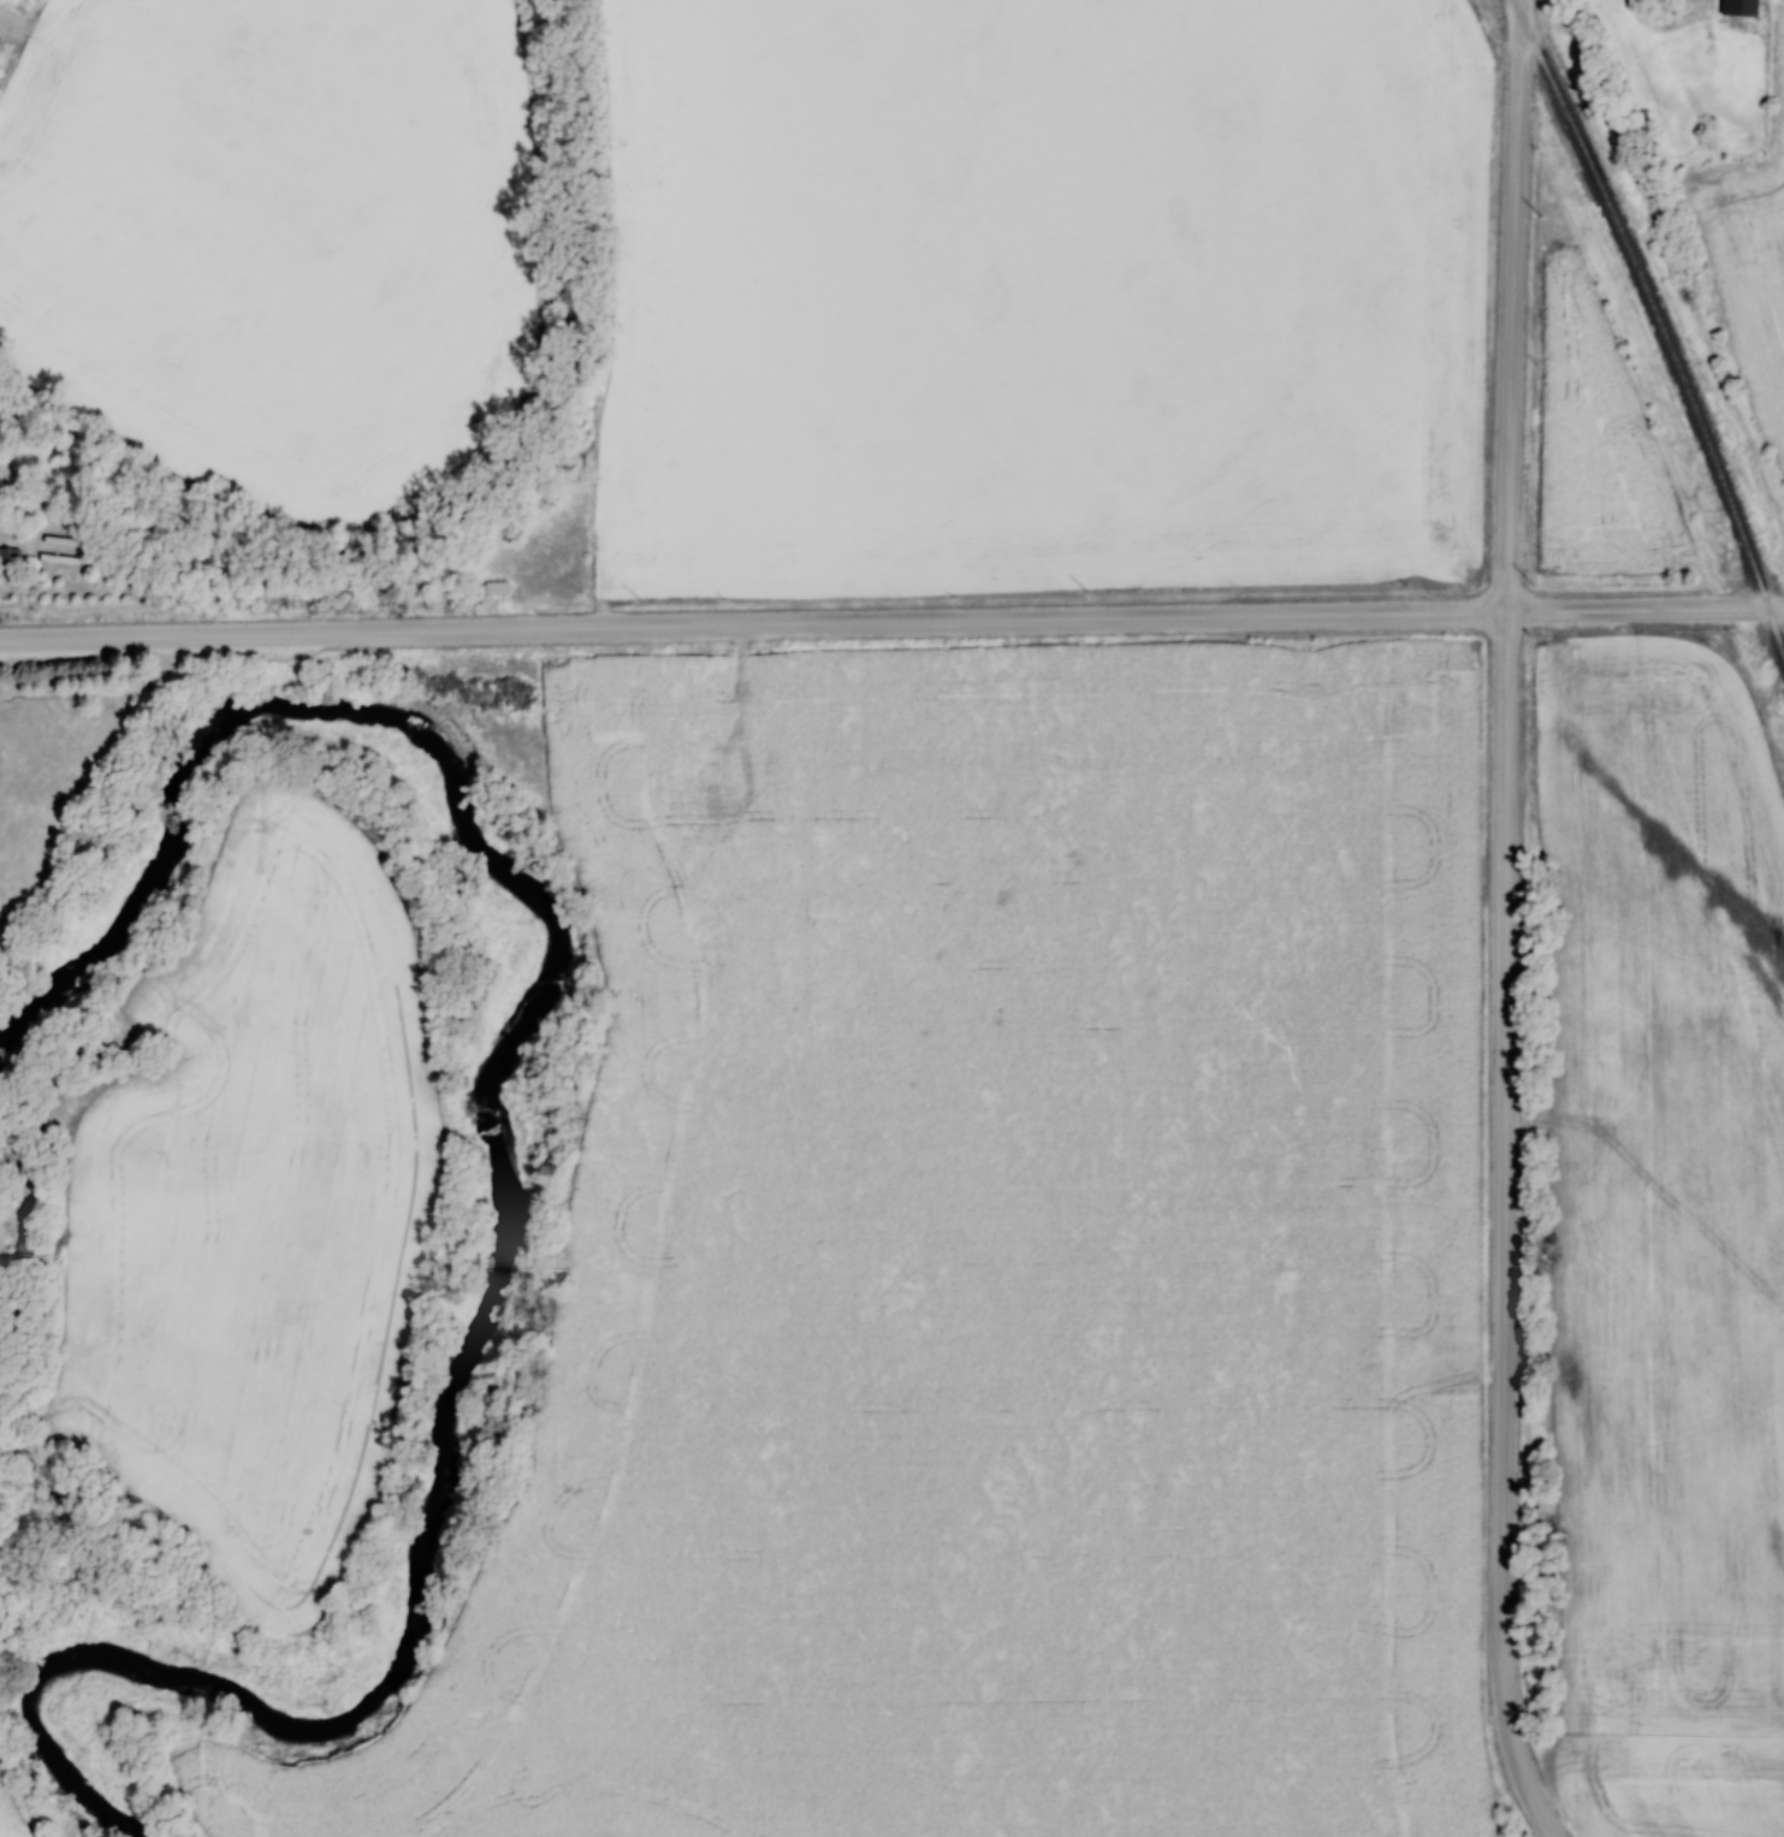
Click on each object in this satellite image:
building: (1737, 8)
railway: (1552, 84)
road: (1510, 304)
railway: (1682, 386)
building: (10, 553)
building: (497, 587)
road: (1774, 605)
road: (1635, 609)
road: (752, 624)
railway: (1774, 635)
building: (705, 712)
building: (770, 760)
building: (730, 787)
building: (674, 811)
river: (517, 1168)
road: (1504, 1228)
building: (24, 1252)

